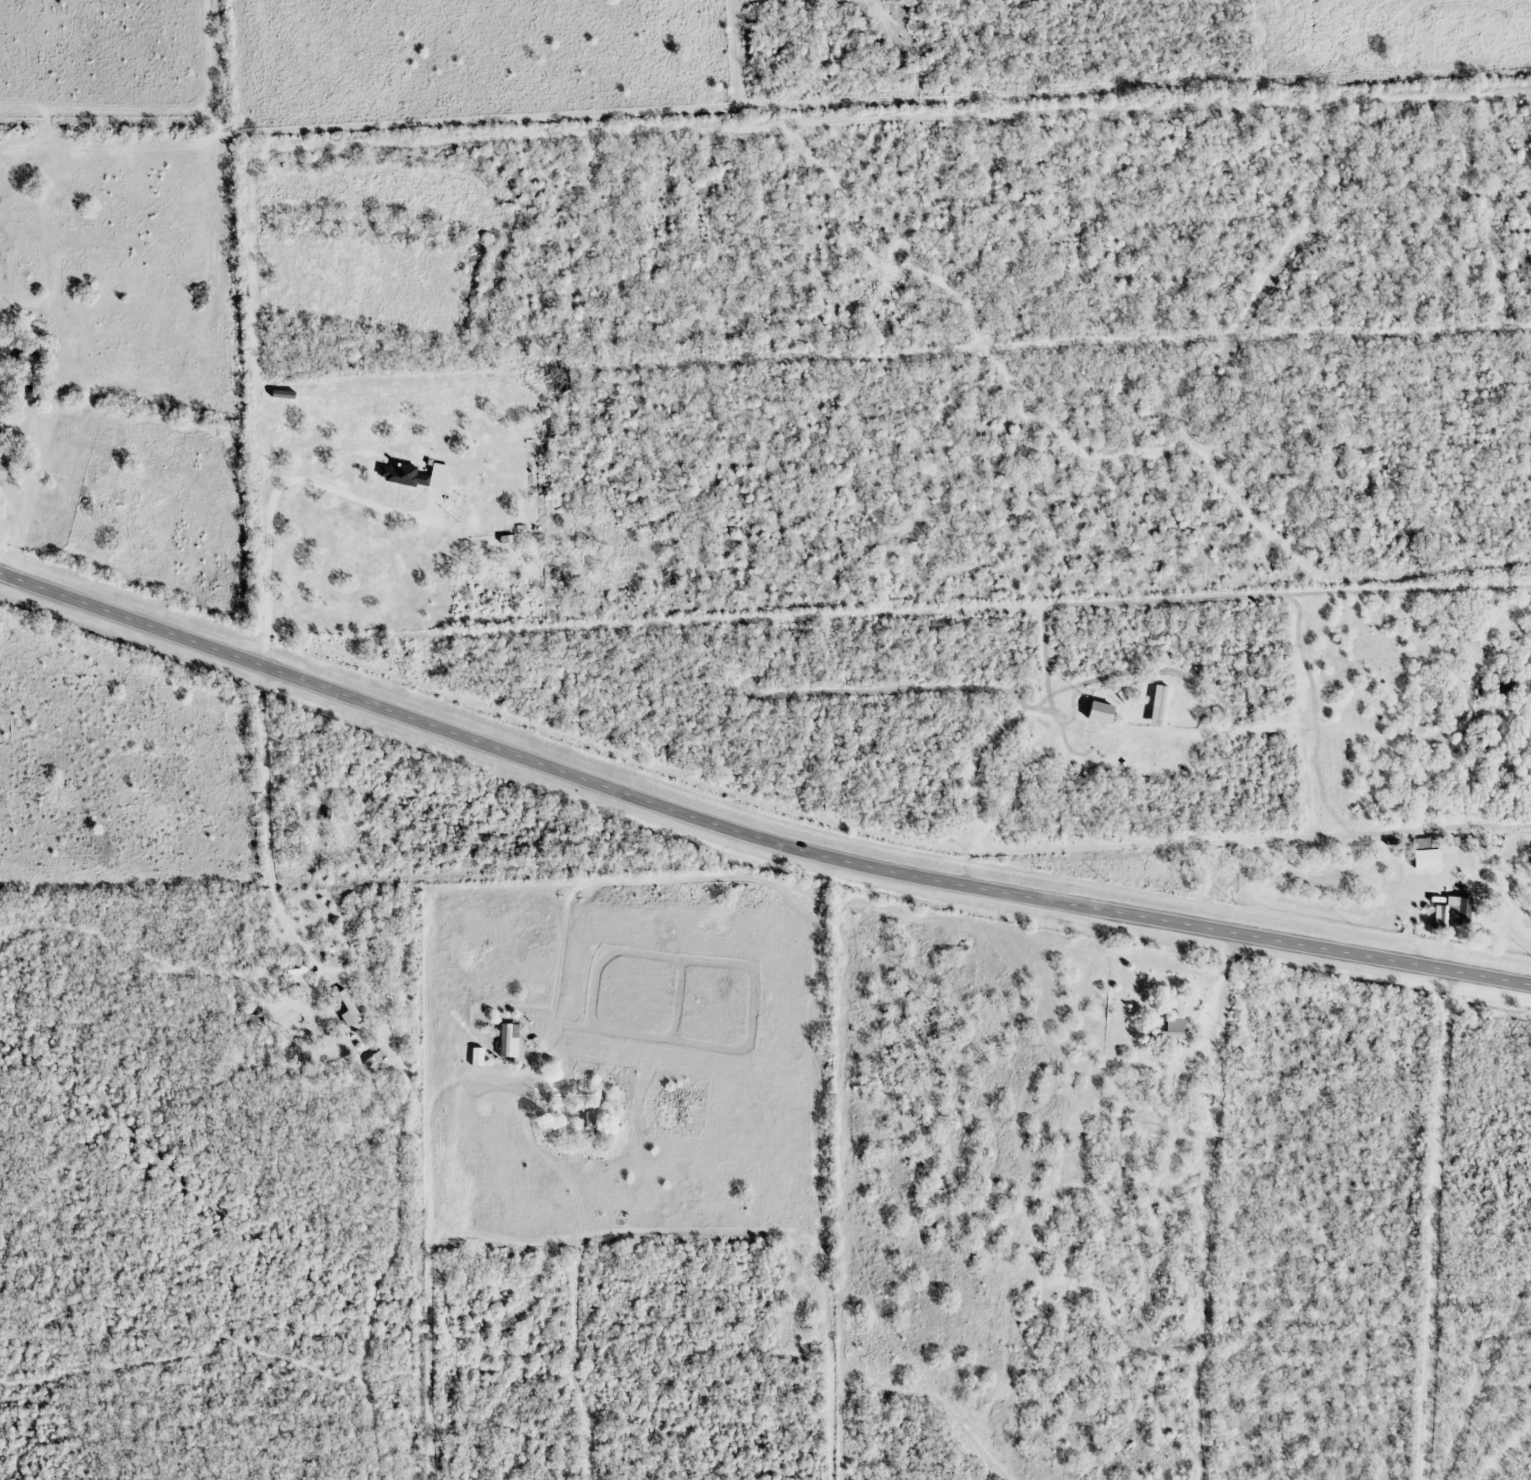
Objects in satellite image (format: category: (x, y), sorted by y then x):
building: (28, 360)
building: (2, 471)
building: (1163, 705)
building: (1101, 711)
road: (750, 834)
building: (1422, 843)
building: (1453, 911)
building: (349, 1009)
building: (1174, 1028)
building: (510, 1039)
building: (586, 1120)

